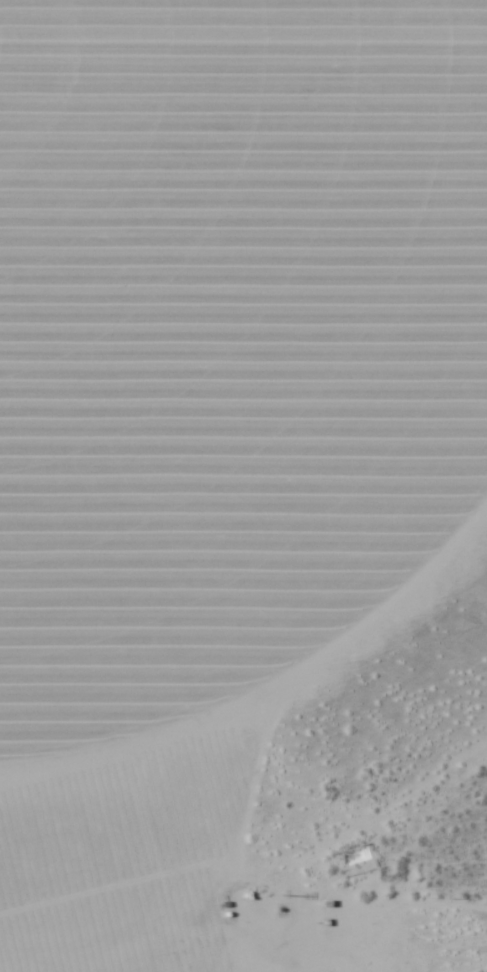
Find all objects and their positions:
crop: (227, 339)
building: (356, 861)

